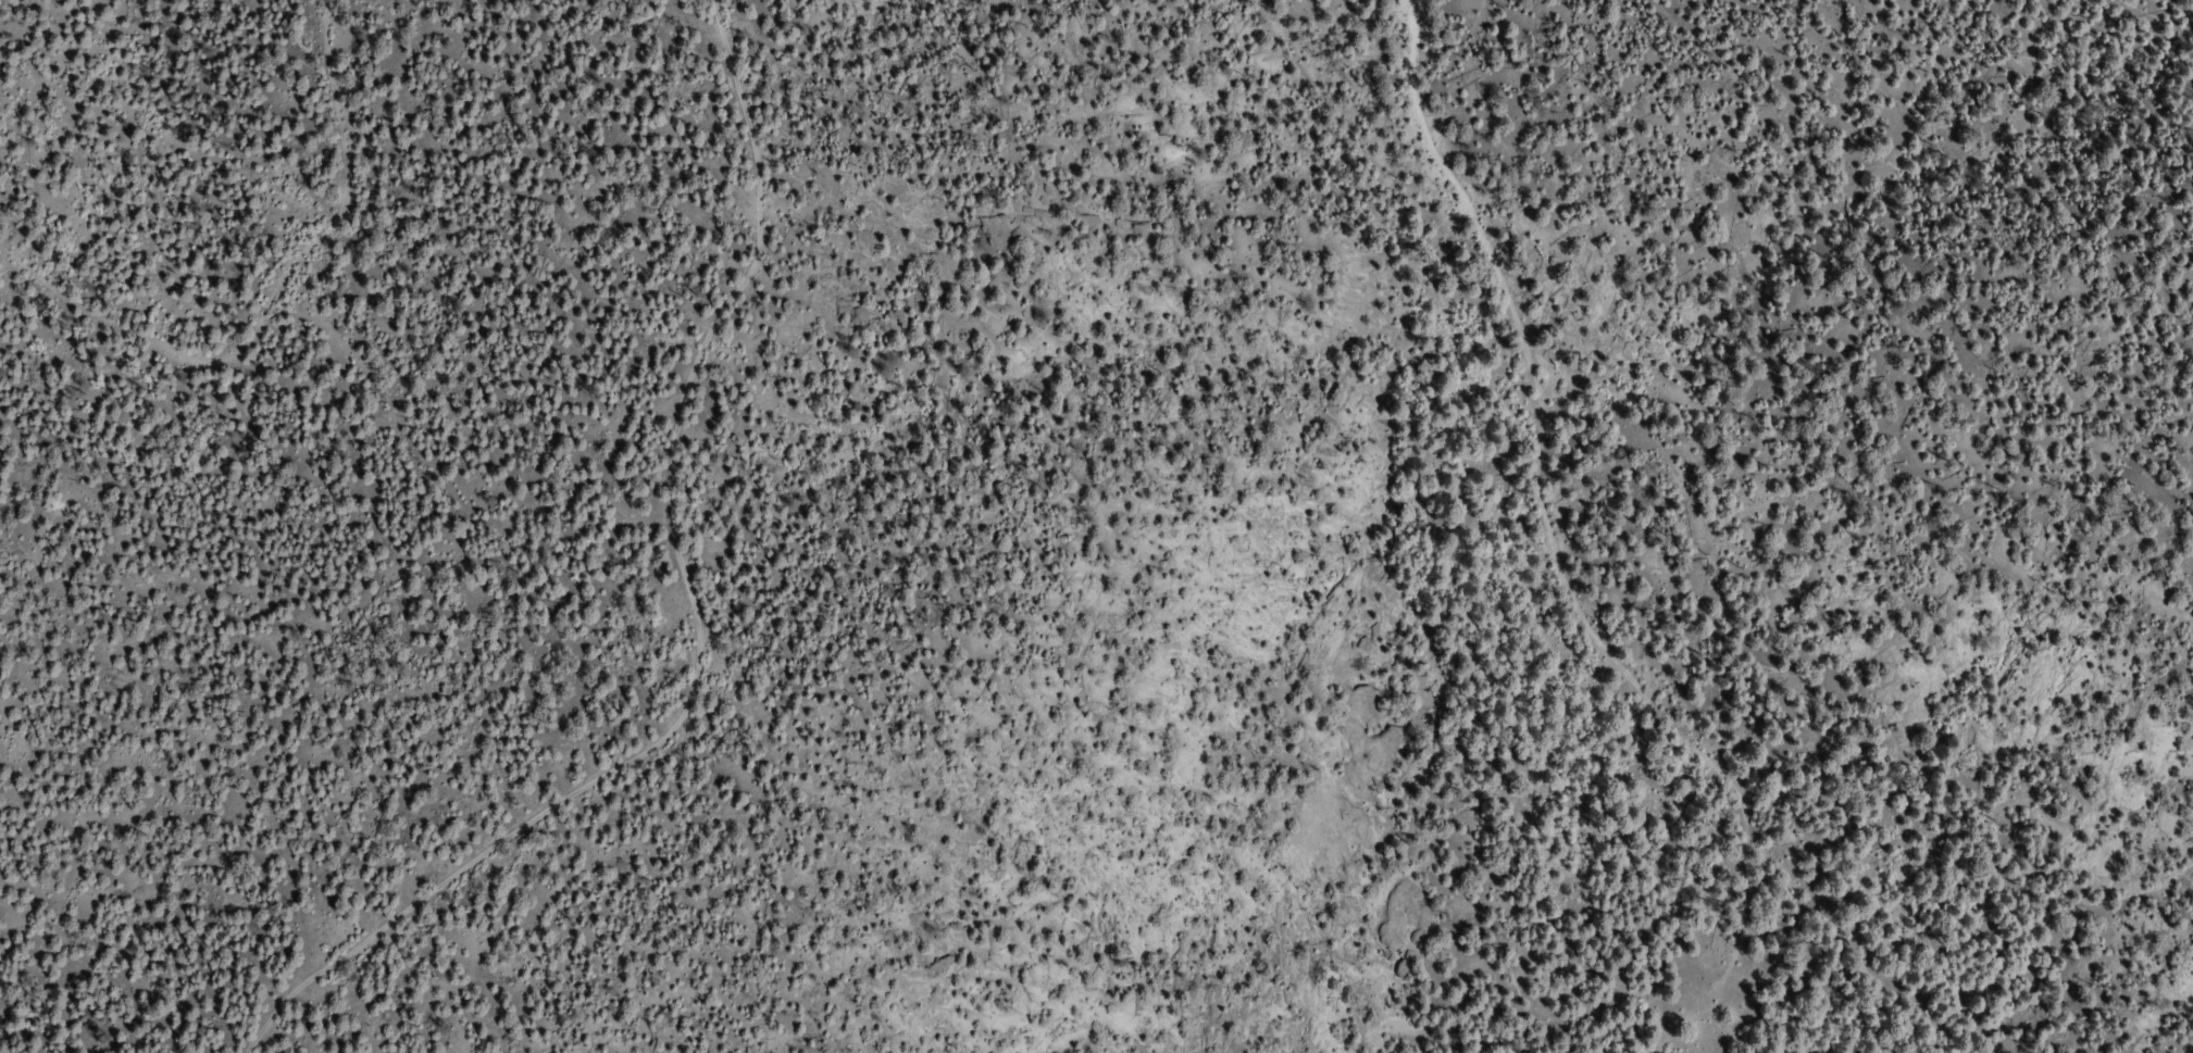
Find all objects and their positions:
road: (271, 302)
road: (1559, 560)
road: (695, 622)

